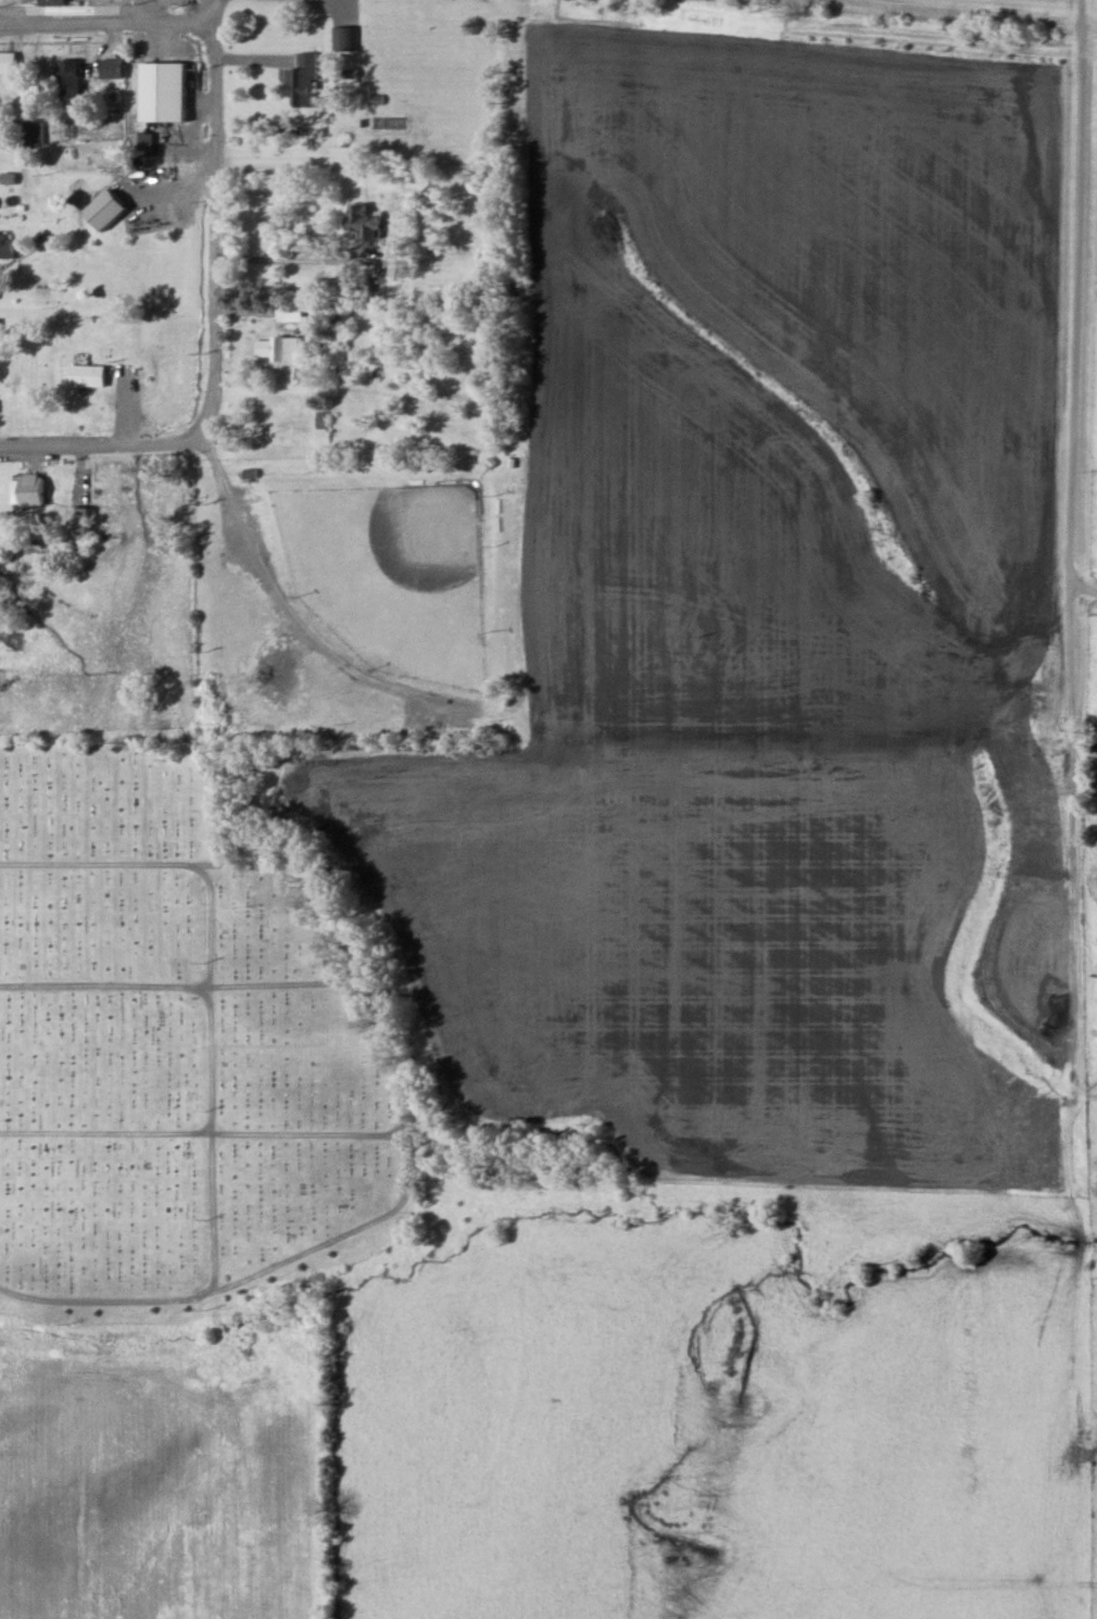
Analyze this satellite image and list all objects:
road: (325, 0)
building: (52, 2)
road: (207, 12)
road: (1076, 15)
road: (104, 24)
building: (339, 38)
building: (7, 63)
building: (110, 70)
building: (66, 79)
building: (299, 81)
building: (160, 92)
building: (28, 135)
building: (133, 142)
building: (102, 211)
building: (365, 223)
road: (204, 229)
building: (4, 246)
building: (393, 259)
road: (1067, 311)
building: (287, 314)
building: (277, 349)
building: (83, 375)
road: (98, 445)
building: (28, 489)
building: (77, 524)
building: (4, 541)
road: (203, 865)
park: (179, 1042)
road: (204, 1075)
road: (398, 1125)
road: (200, 1131)

